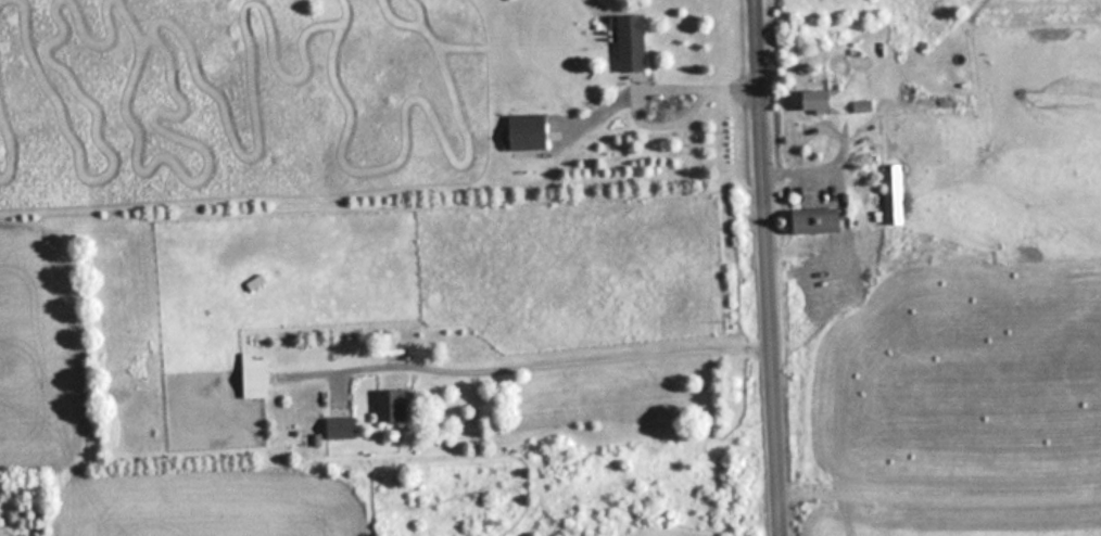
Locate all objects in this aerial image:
building: (632, 41)
road: (649, 80)
building: (824, 100)
building: (527, 131)
building: (895, 194)
building: (822, 219)
road: (773, 268)
road: (547, 356)
building: (256, 374)
building: (393, 404)

